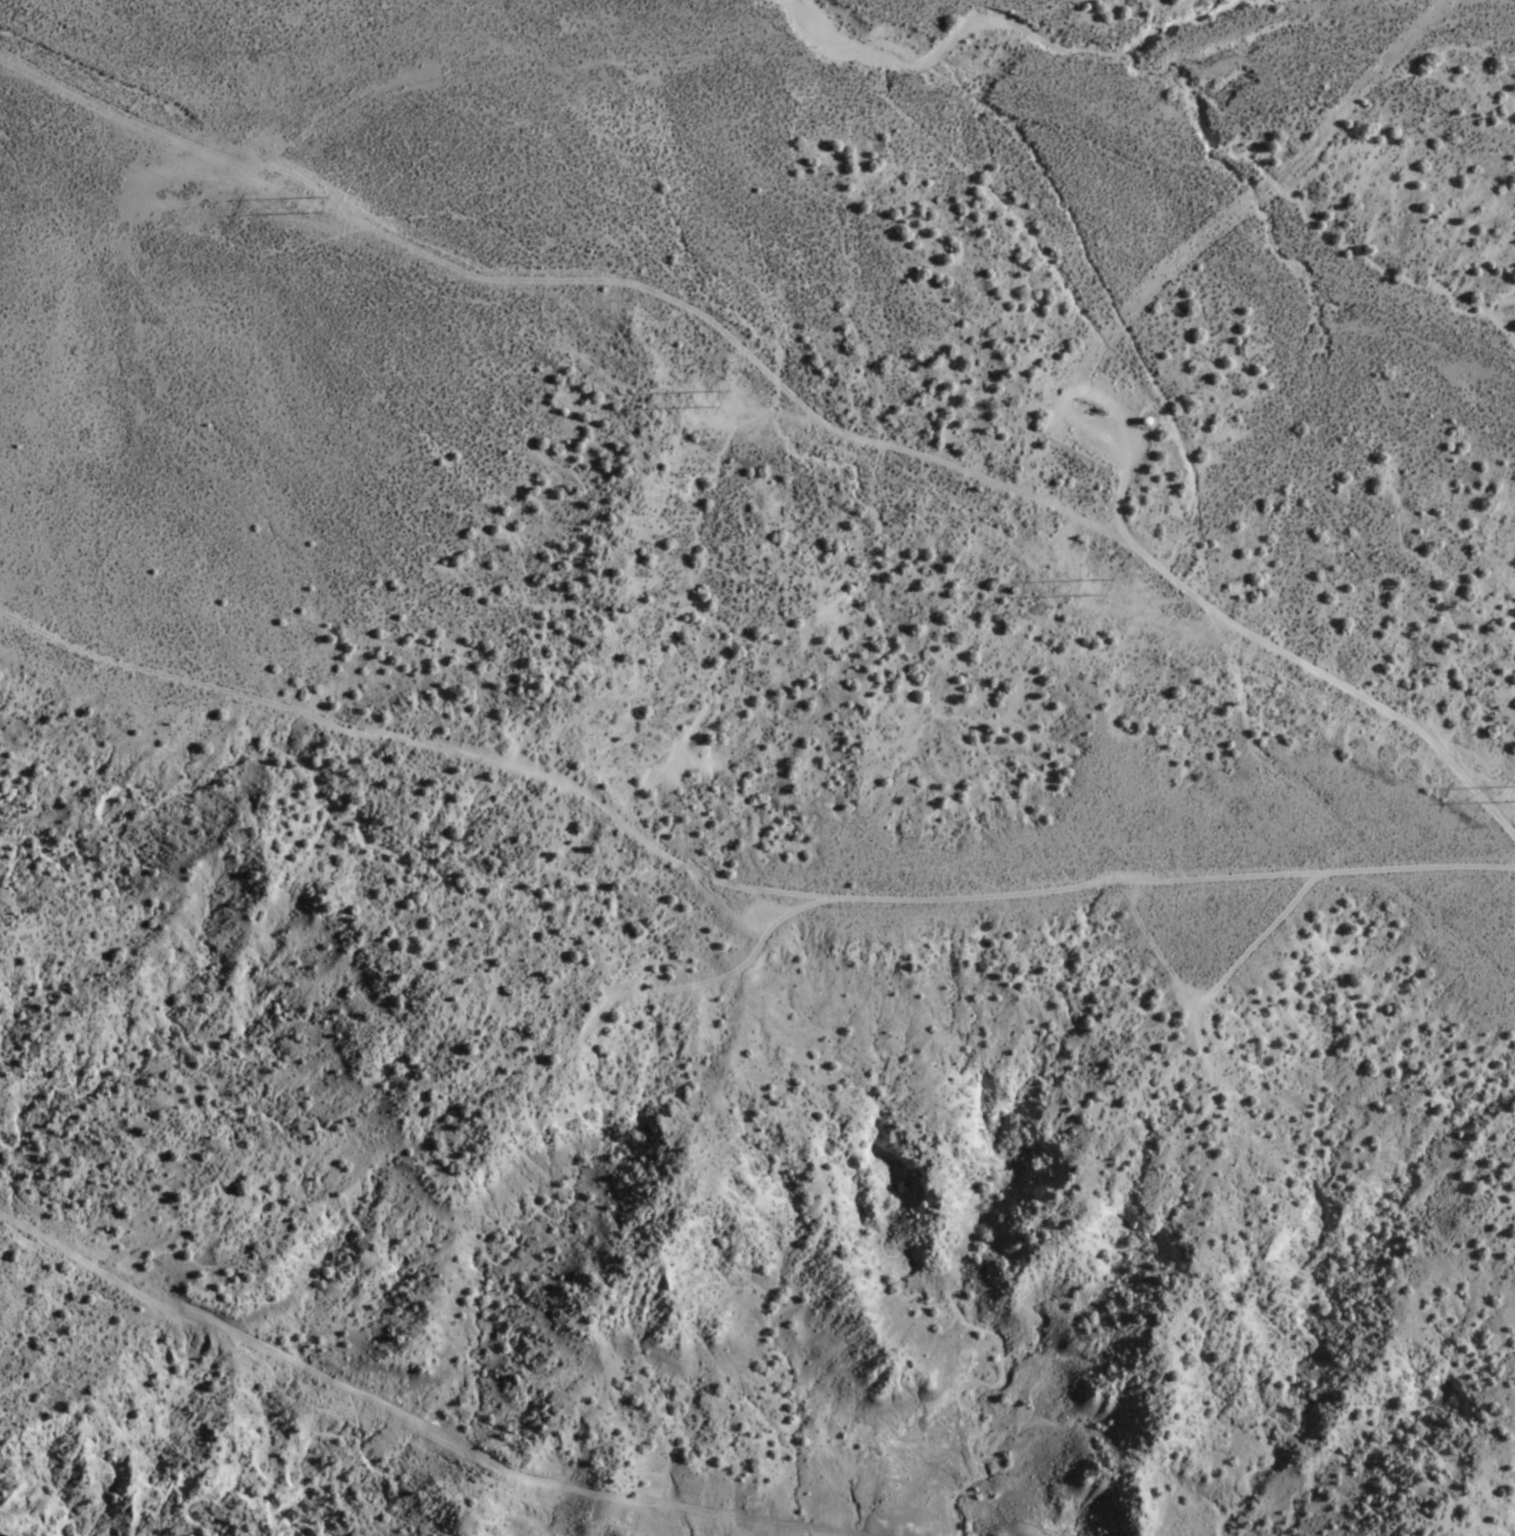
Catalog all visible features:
power tower: (307, 202)
power tower: (691, 395)
power tower: (1083, 583)
power tower: (1505, 790)
road: (737, 856)

